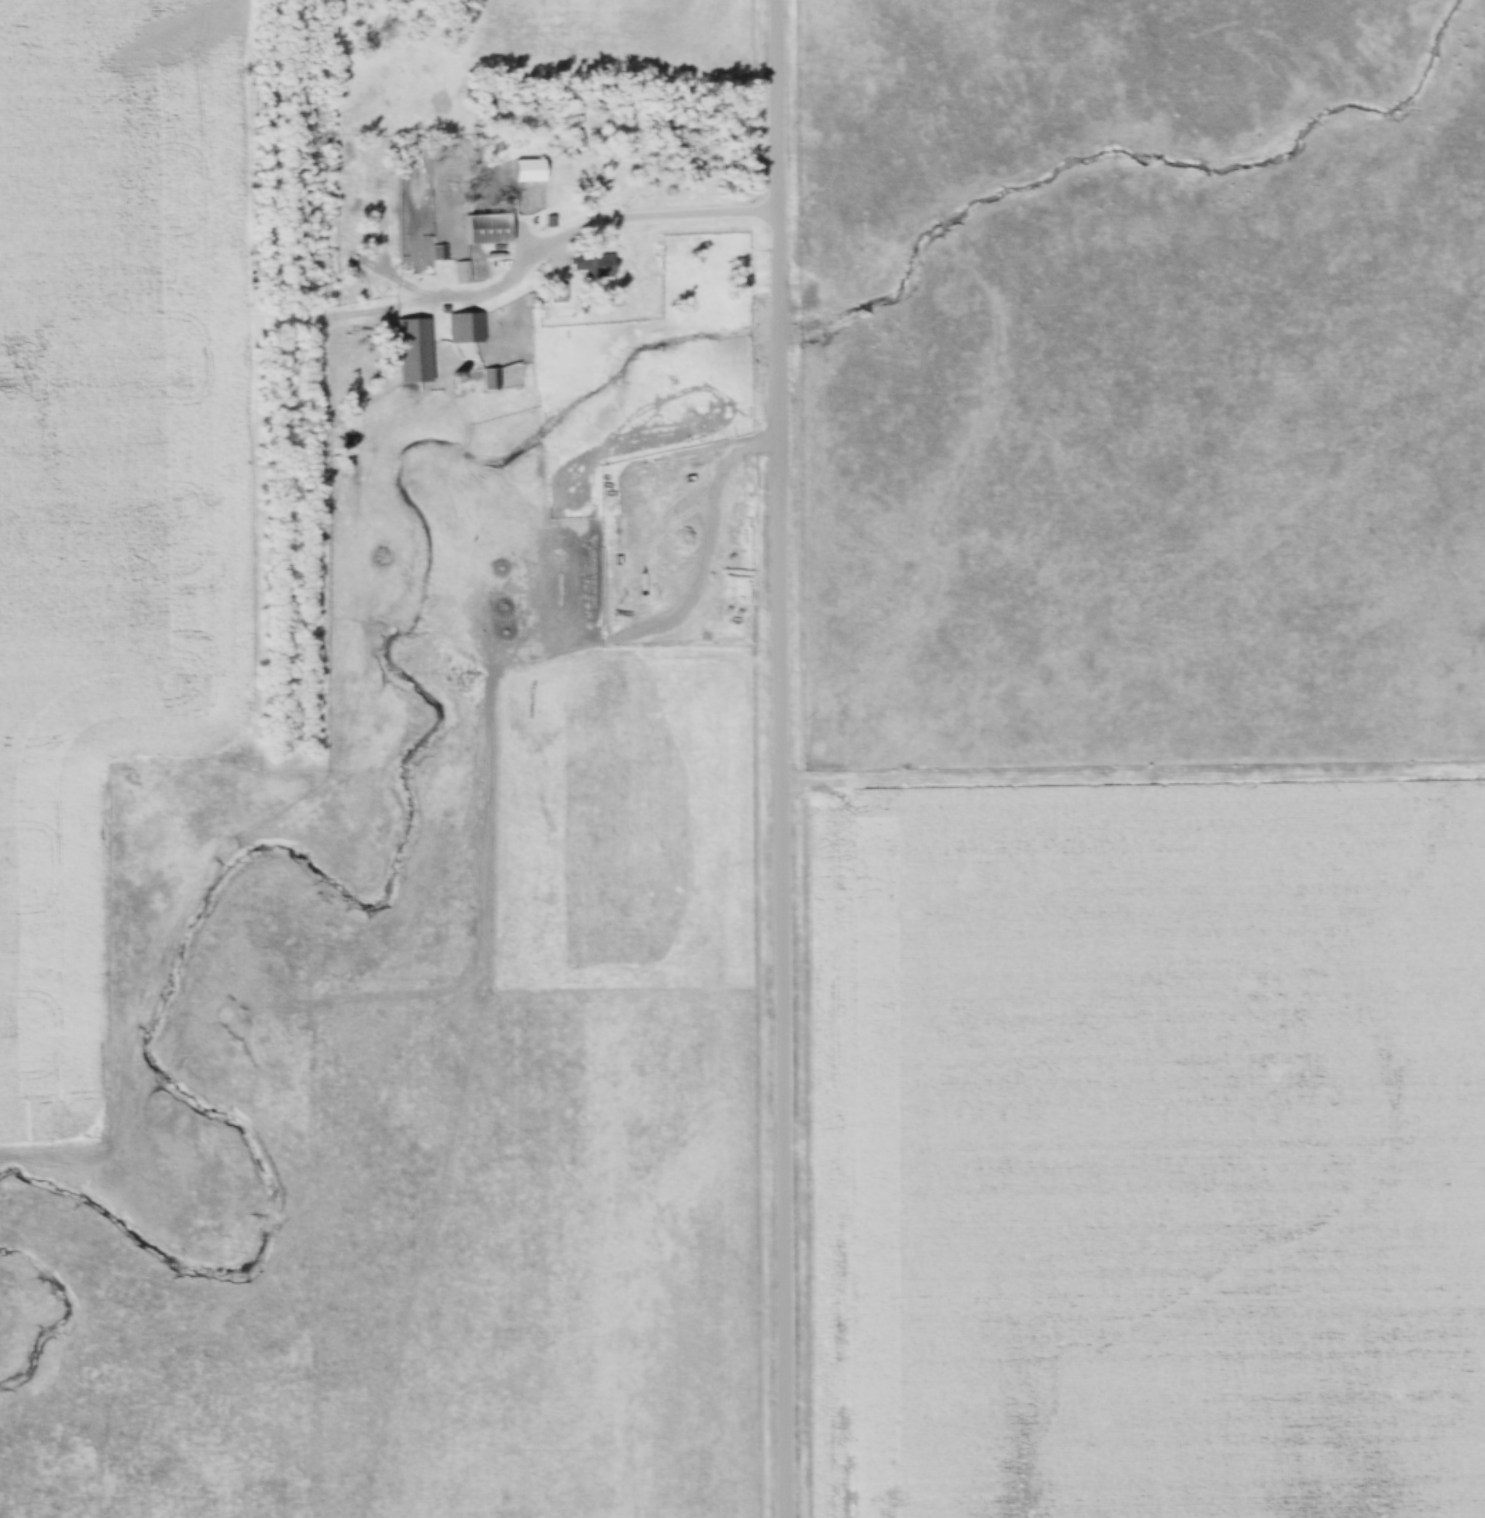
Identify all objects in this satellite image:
road: (593, 216)
building: (485, 229)
building: (596, 266)
building: (465, 327)
building: (412, 351)
road: (782, 758)

